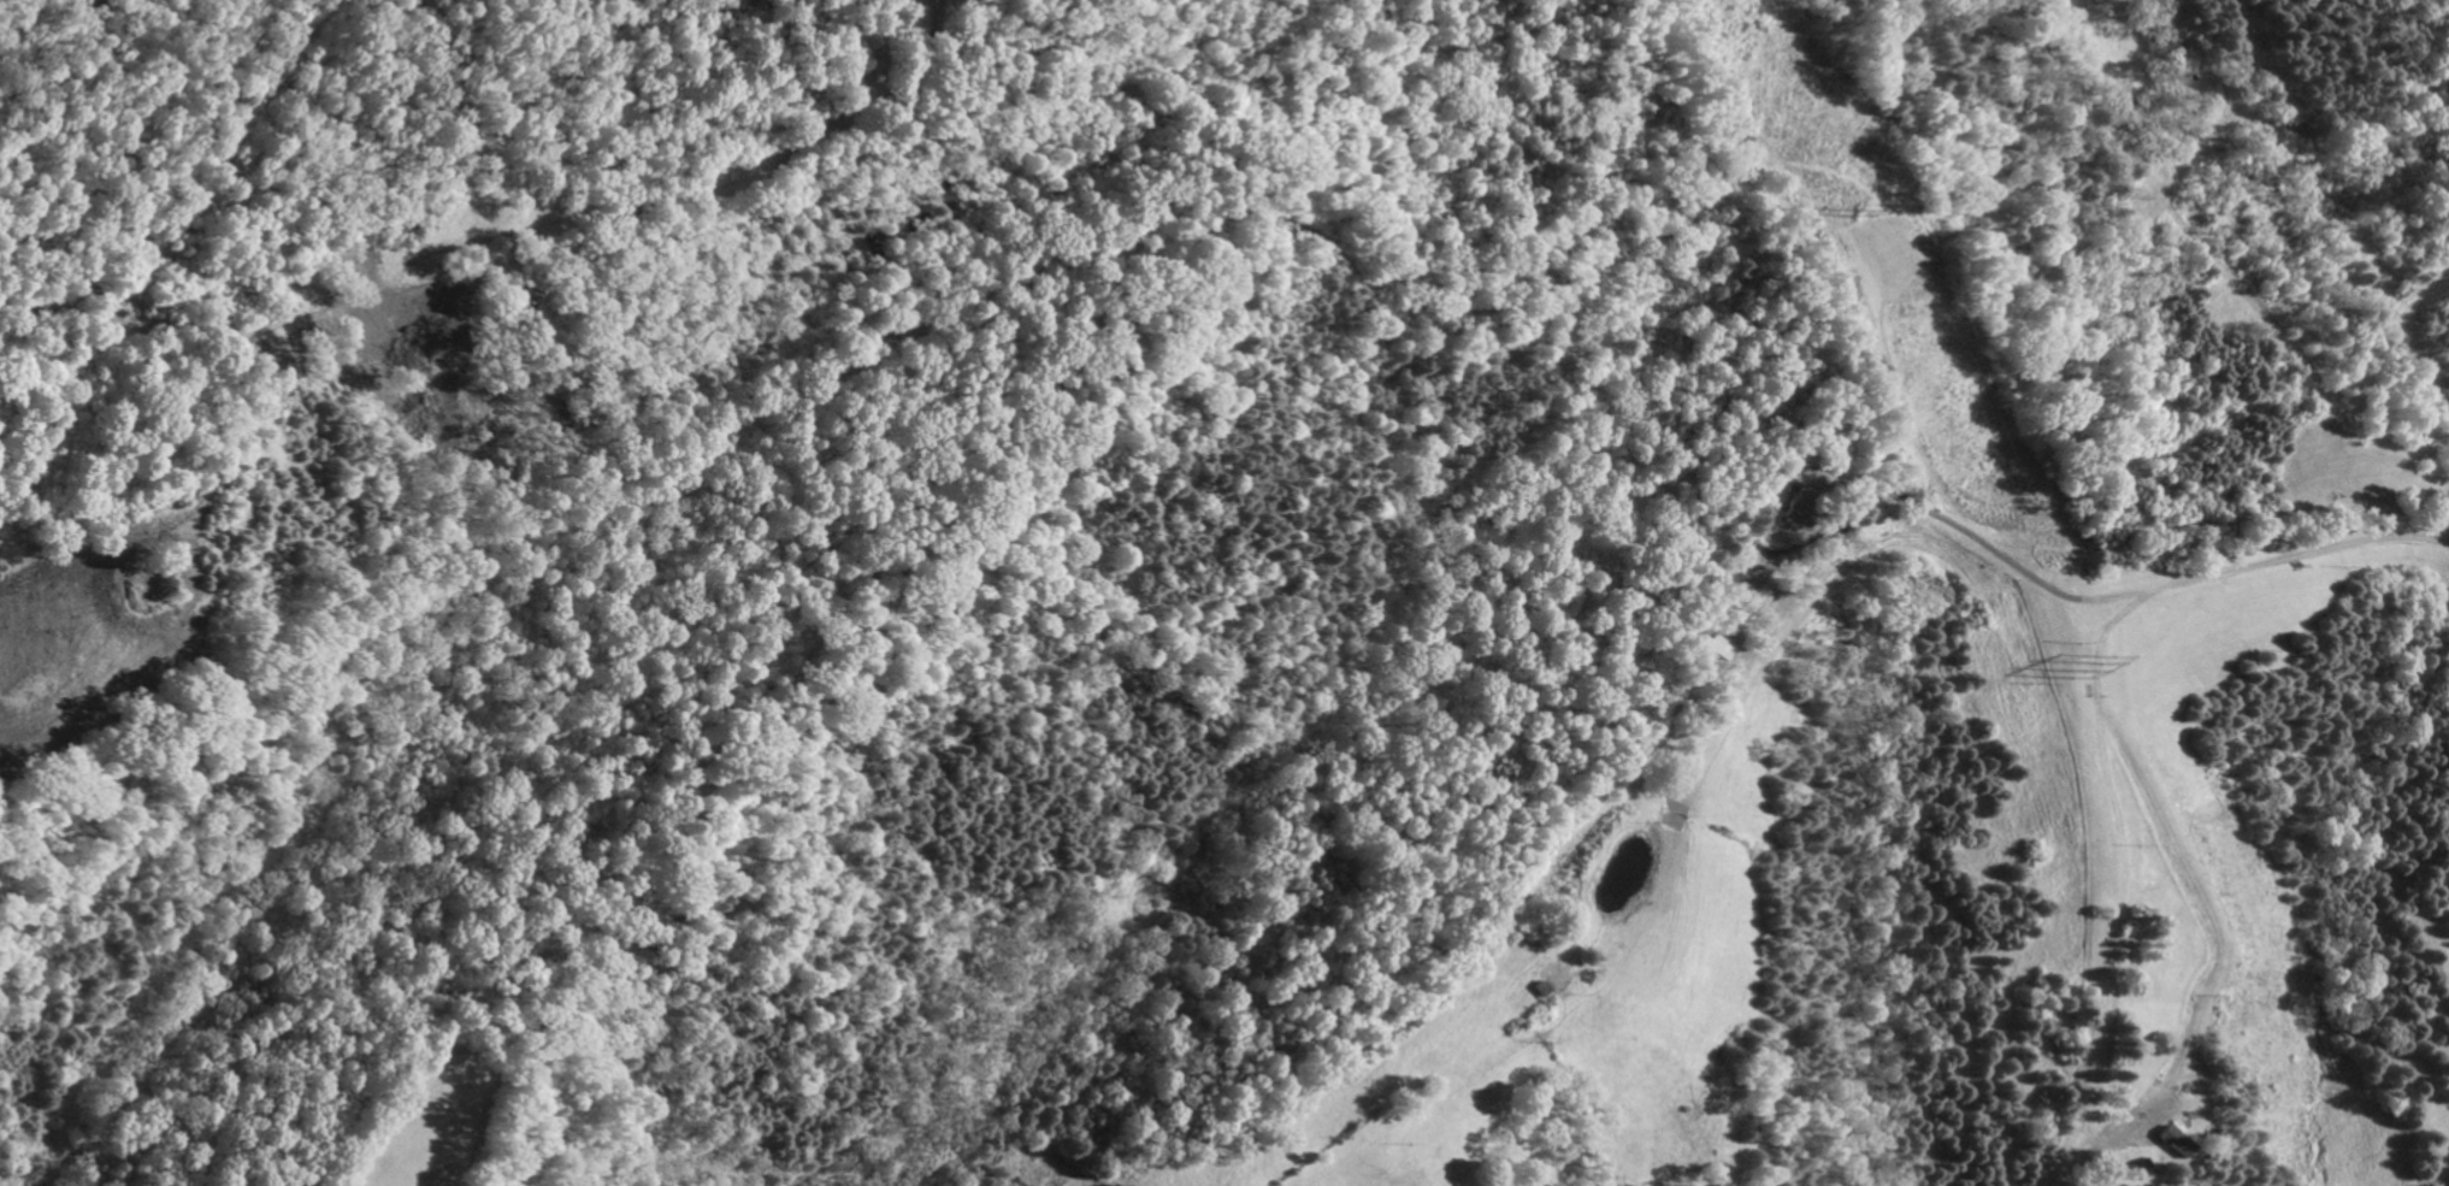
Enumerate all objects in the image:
building: (1799, 506)
road: (1943, 517)
road: (2206, 573)
road: (1611, 872)
building: (2174, 1143)

